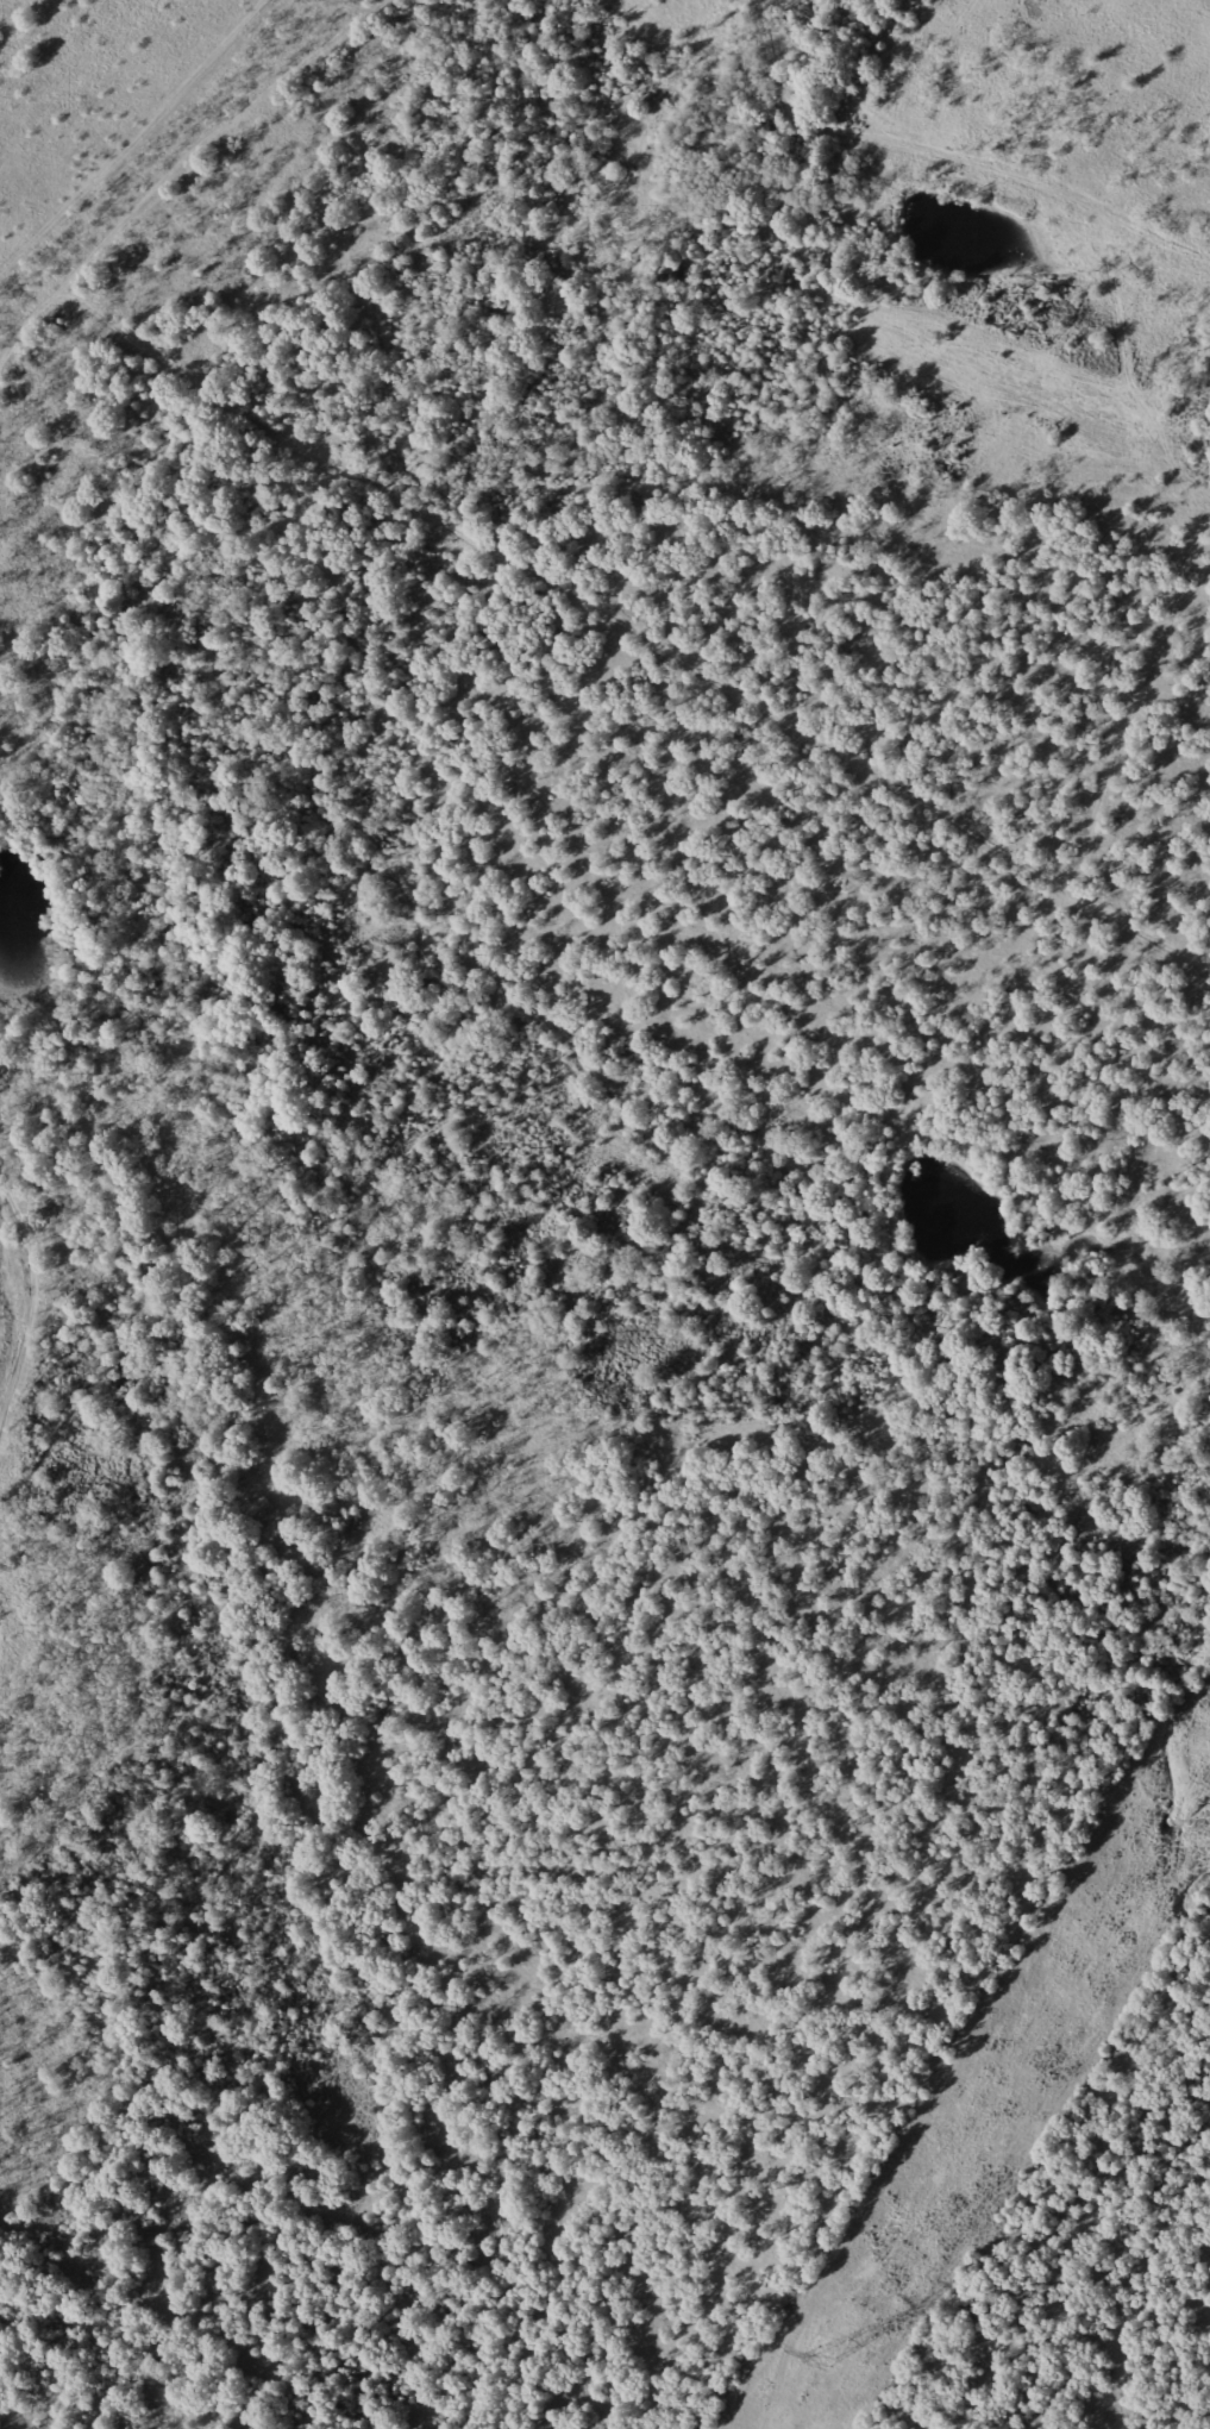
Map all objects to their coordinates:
power tower: (825, 2358)

